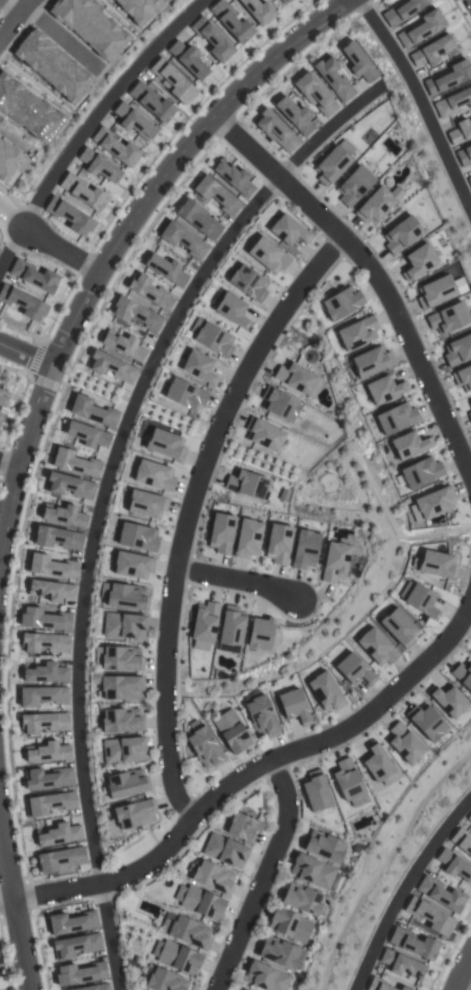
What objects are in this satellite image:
building: (284, 1)
road: (372, 4)
road: (9, 7)
building: (402, 11)
road: (15, 20)
building: (231, 23)
building: (419, 29)
road: (58, 37)
building: (212, 40)
building: (431, 52)
building: (187, 60)
building: (358, 63)
building: (449, 78)
building: (334, 80)
building: (173, 81)
building: (315, 95)
road: (20, 98)
building: (151, 103)
building: (453, 104)
road: (419, 106)
building: (294, 116)
building: (133, 121)
road: (89, 124)
road: (329, 128)
building: (276, 132)
building: (460, 132)
road: (18, 140)
building: (116, 148)
building: (464, 155)
building: (8, 160)
building: (331, 165)
building: (98, 166)
building: (234, 178)
building: (469, 179)
building: (354, 186)
building: (82, 192)
building: (216, 195)
building: (374, 206)
building: (70, 217)
building: (199, 219)
building: (289, 230)
building: (401, 235)
building: (182, 240)
road: (49, 243)
road: (123, 243)
building: (268, 255)
building: (418, 261)
building: (166, 270)
road: (369, 272)
building: (33, 276)
building: (248, 283)
building: (151, 292)
building: (435, 292)
building: (23, 303)
building: (341, 303)
building: (232, 310)
building: (136, 314)
building: (448, 318)
building: (357, 333)
building: (211, 338)
building: (122, 345)
building: (458, 350)
road: (26, 354)
building: (371, 362)
building: (111, 367)
building: (199, 367)
road: (14, 371)
building: (462, 377)
building: (298, 379)
building: (384, 389)
building: (185, 394)
building: (3, 398)
building: (279, 404)
building: (470, 405)
building: (91, 412)
building: (469, 415)
building: (1, 416)
building: (397, 418)
building: (264, 434)
building: (87, 435)
building: (166, 444)
building: (409, 445)
road: (8, 463)
building: (74, 463)
building: (421, 472)
building: (154, 475)
building: (246, 484)
building: (70, 486)
building: (434, 502)
building: (146, 503)
road: (103, 504)
road: (192, 510)
building: (65, 516)
building: (221, 533)
building: (138, 537)
building: (57, 538)
building: (247, 538)
building: (278, 544)
building: (305, 549)
building: (334, 562)
building: (133, 565)
building: (436, 565)
building: (52, 566)
road: (236, 582)
building: (52, 590)
building: (124, 596)
building: (419, 599)
building: (44, 619)
building: (204, 622)
building: (124, 626)
building: (231, 626)
building: (399, 627)
building: (260, 633)
building: (44, 642)
building: (377, 647)
building: (119, 658)
building: (354, 669)
building: (46, 673)
building: (463, 674)
building: (121, 687)
building: (326, 691)
building: (42, 696)
building: (448, 701)
building: (294, 706)
building: (262, 717)
building: (122, 720)
building: (44, 722)
building: (426, 722)
building: (232, 732)
building: (404, 743)
building: (205, 748)
building: (123, 750)
building: (47, 752)
building: (377, 762)
road: (254, 773)
building: (48, 778)
building: (347, 780)
building: (126, 783)
building: (316, 791)
building: (48, 804)
building: (135, 813)
building: (469, 817)
building: (244, 828)
building: (59, 834)
building: (461, 842)
building: (323, 846)
building: (225, 851)
building: (61, 859)
building: (454, 866)
building: (313, 871)
road: (262, 876)
building: (213, 877)
road: (403, 887)
building: (440, 894)
building: (301, 899)
road: (6, 900)
building: (199, 902)
road: (13, 907)
building: (430, 917)
building: (72, 923)
building: (289, 925)
building: (187, 931)
road: (109, 937)
building: (413, 944)
building: (76, 945)
building: (278, 952)
building: (176, 957)
building: (402, 965)
road: (461, 972)
building: (80, 974)
building: (265, 977)
building: (165, 980)
road: (463, 984)
building: (381, 986)
building: (95, 987)
building: (243, 989)

